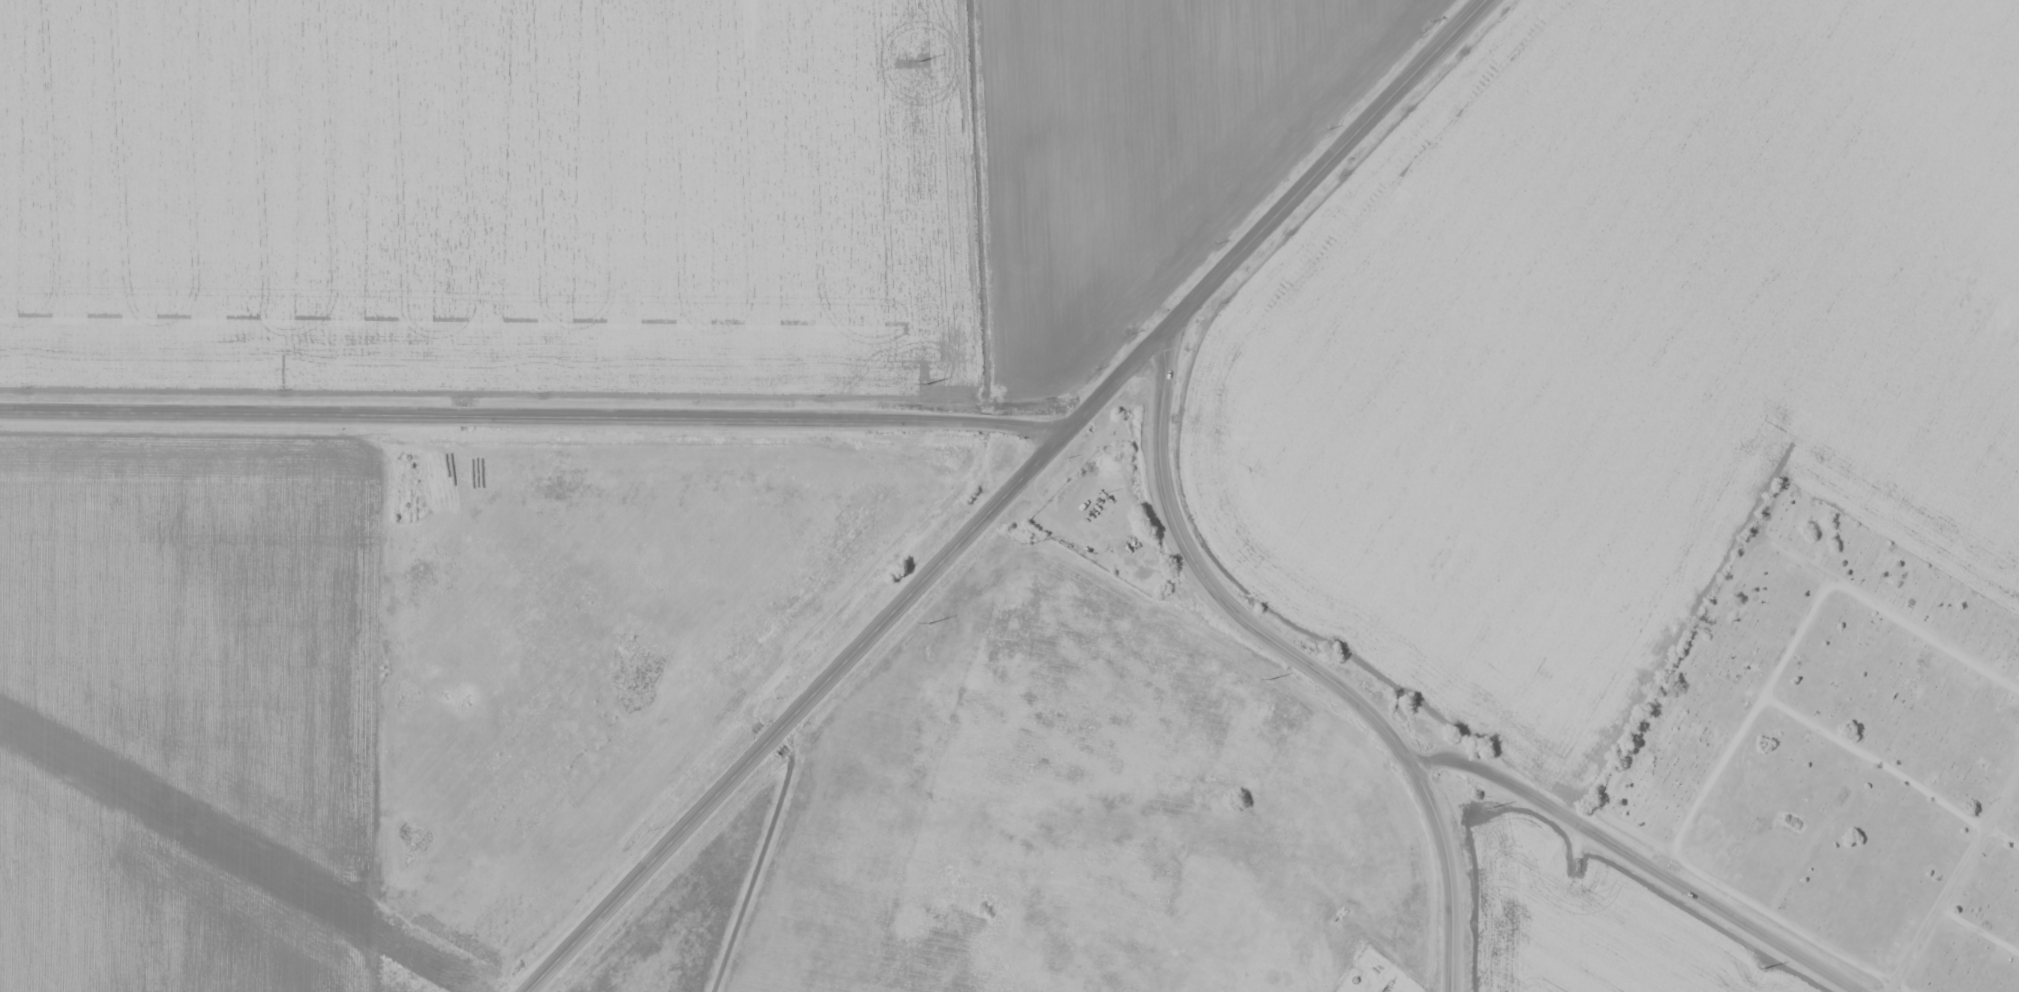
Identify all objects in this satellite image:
power tower: (919, 61)
road: (1276, 213)
power tower: (925, 384)
road: (534, 414)
power tower: (1032, 542)
road: (1892, 612)
power tower: (929, 622)
road: (1294, 651)
power tower: (1269, 679)
road: (797, 711)
road: (1749, 712)
park: (1842, 752)
road: (1890, 767)
power tower: (1490, 808)
road: (1638, 860)
road: (1952, 879)
road: (1790, 928)
road: (1977, 929)
power tower: (1764, 968)

